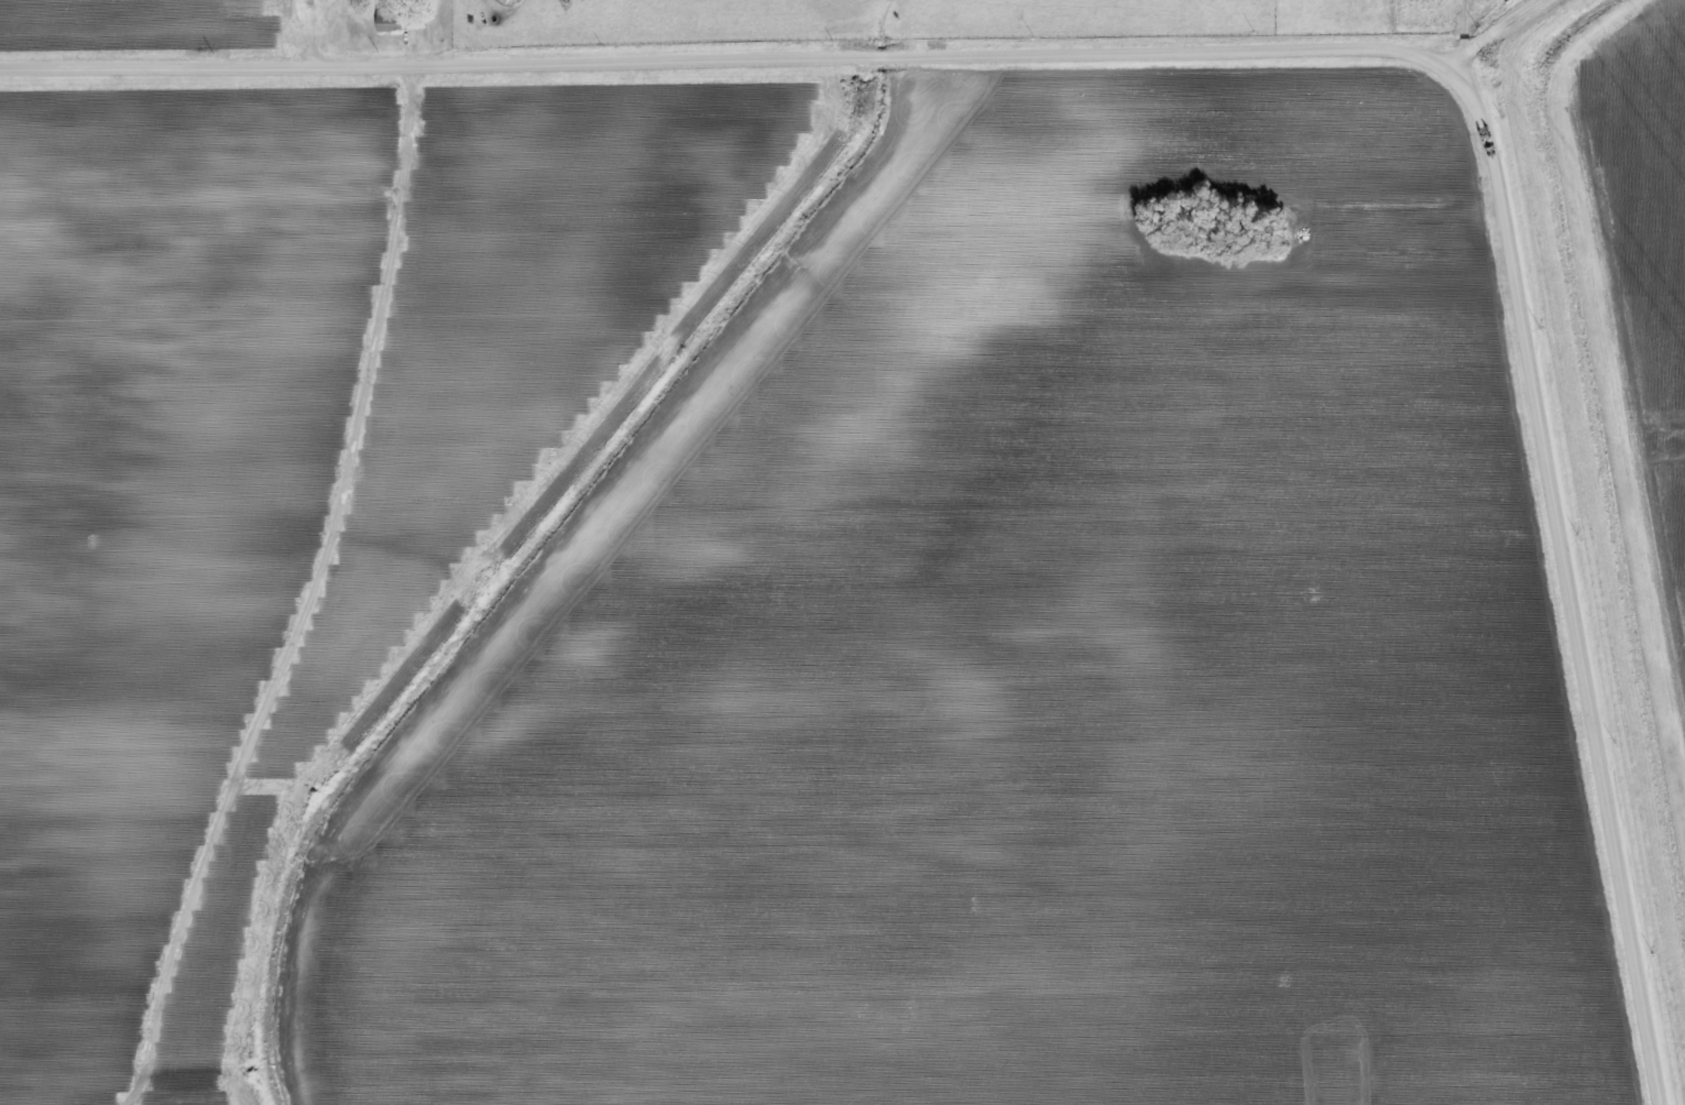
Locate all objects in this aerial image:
road: (1432, 15)
road: (1273, 33)

